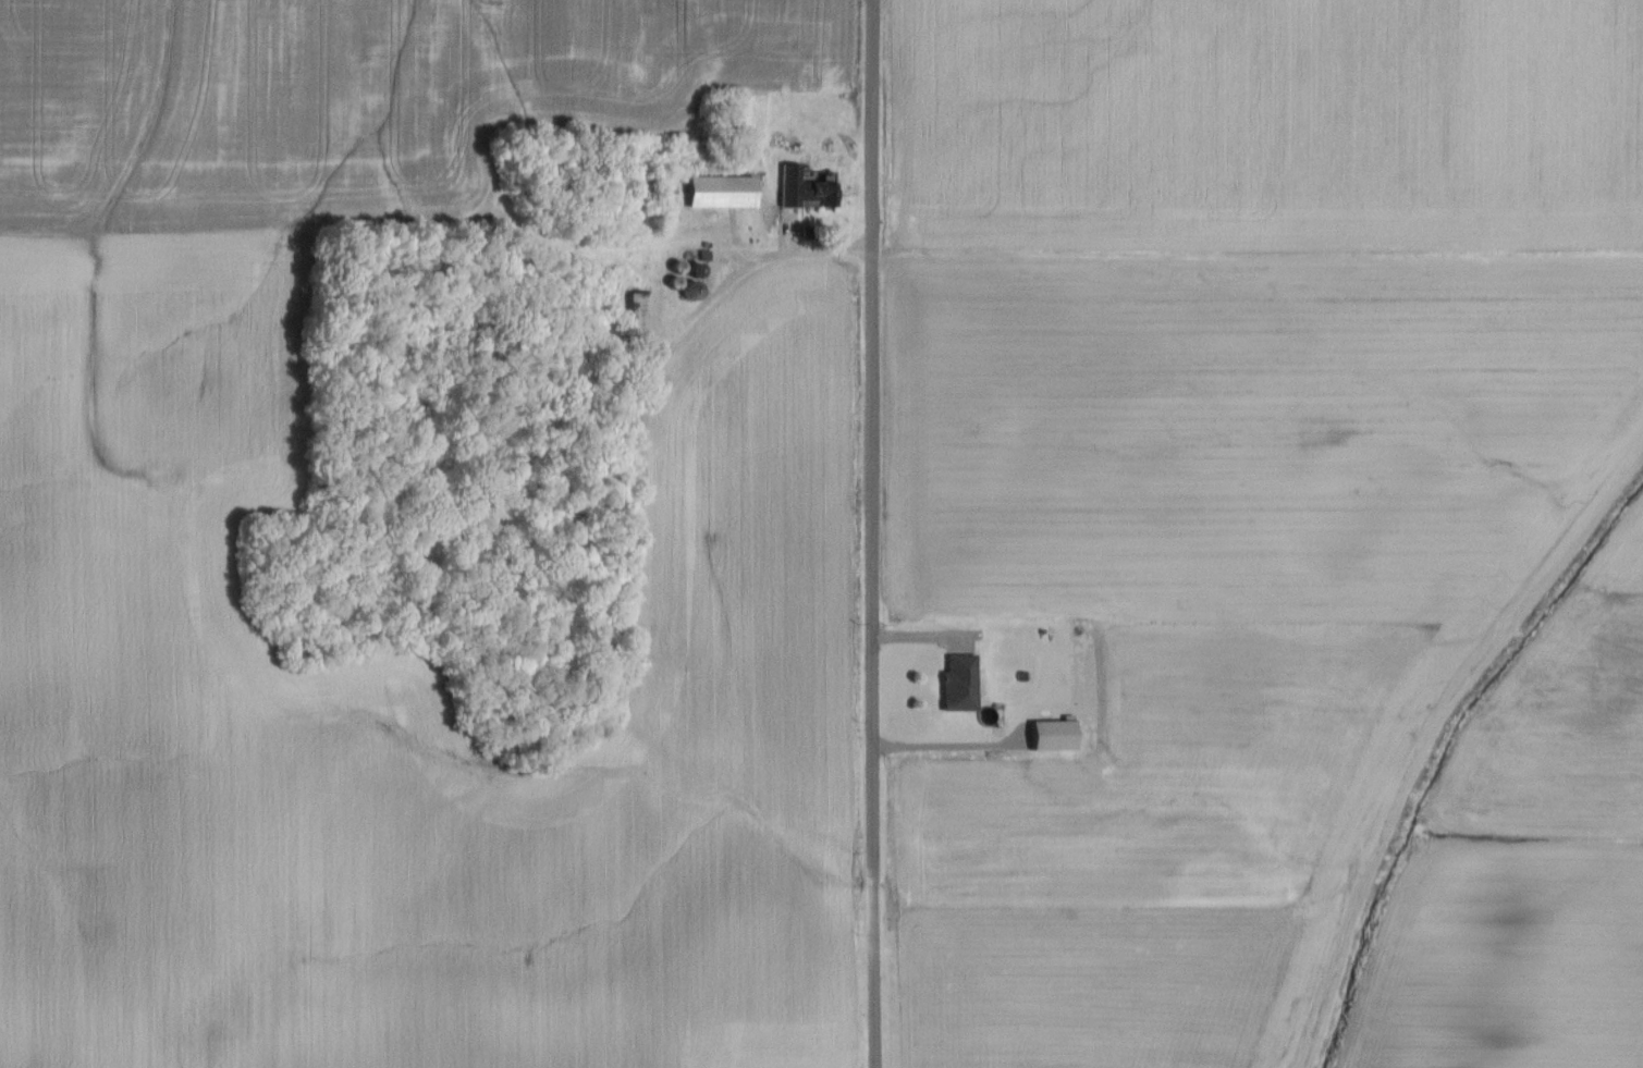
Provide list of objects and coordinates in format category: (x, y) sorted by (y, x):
building: (805, 189)
building: (723, 192)
building: (642, 314)
road: (551, 341)
road: (872, 533)
building: (962, 685)

